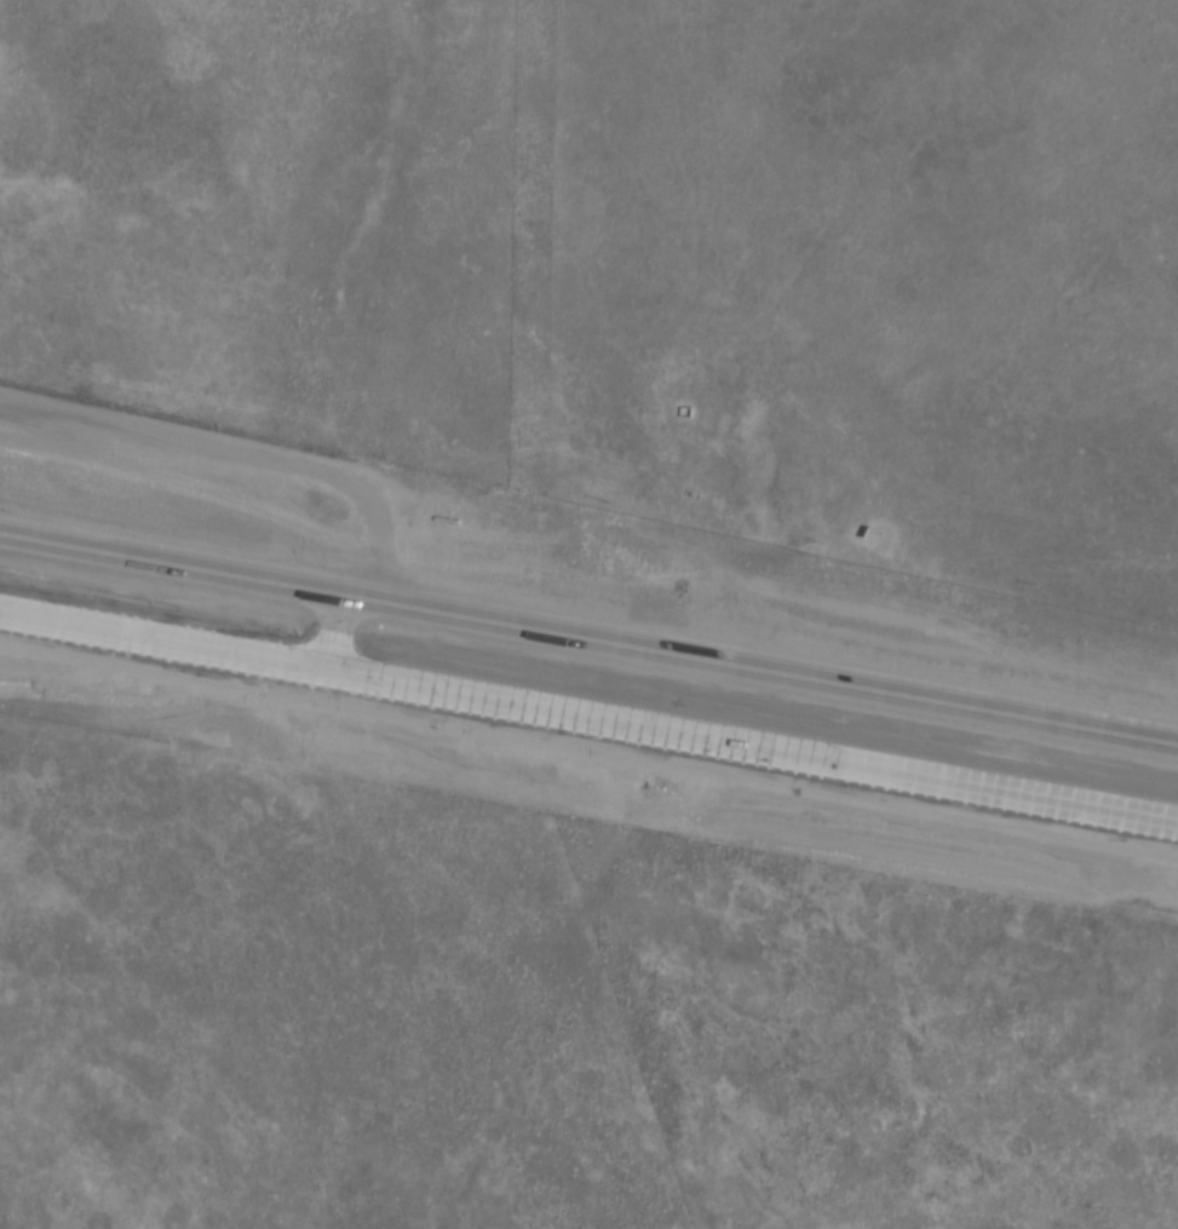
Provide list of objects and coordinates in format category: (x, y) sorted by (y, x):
road: (327, 632)
road: (588, 643)
road: (588, 713)

